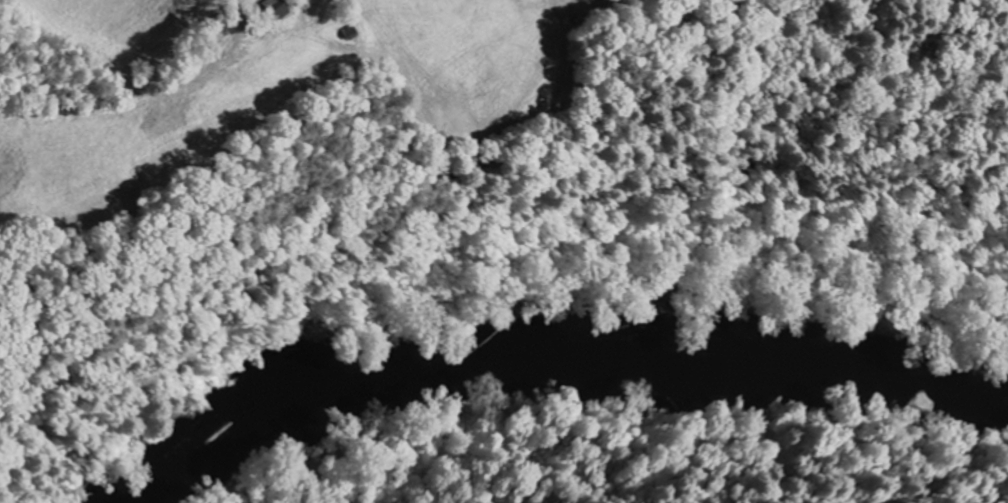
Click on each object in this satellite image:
river: (540, 348)

